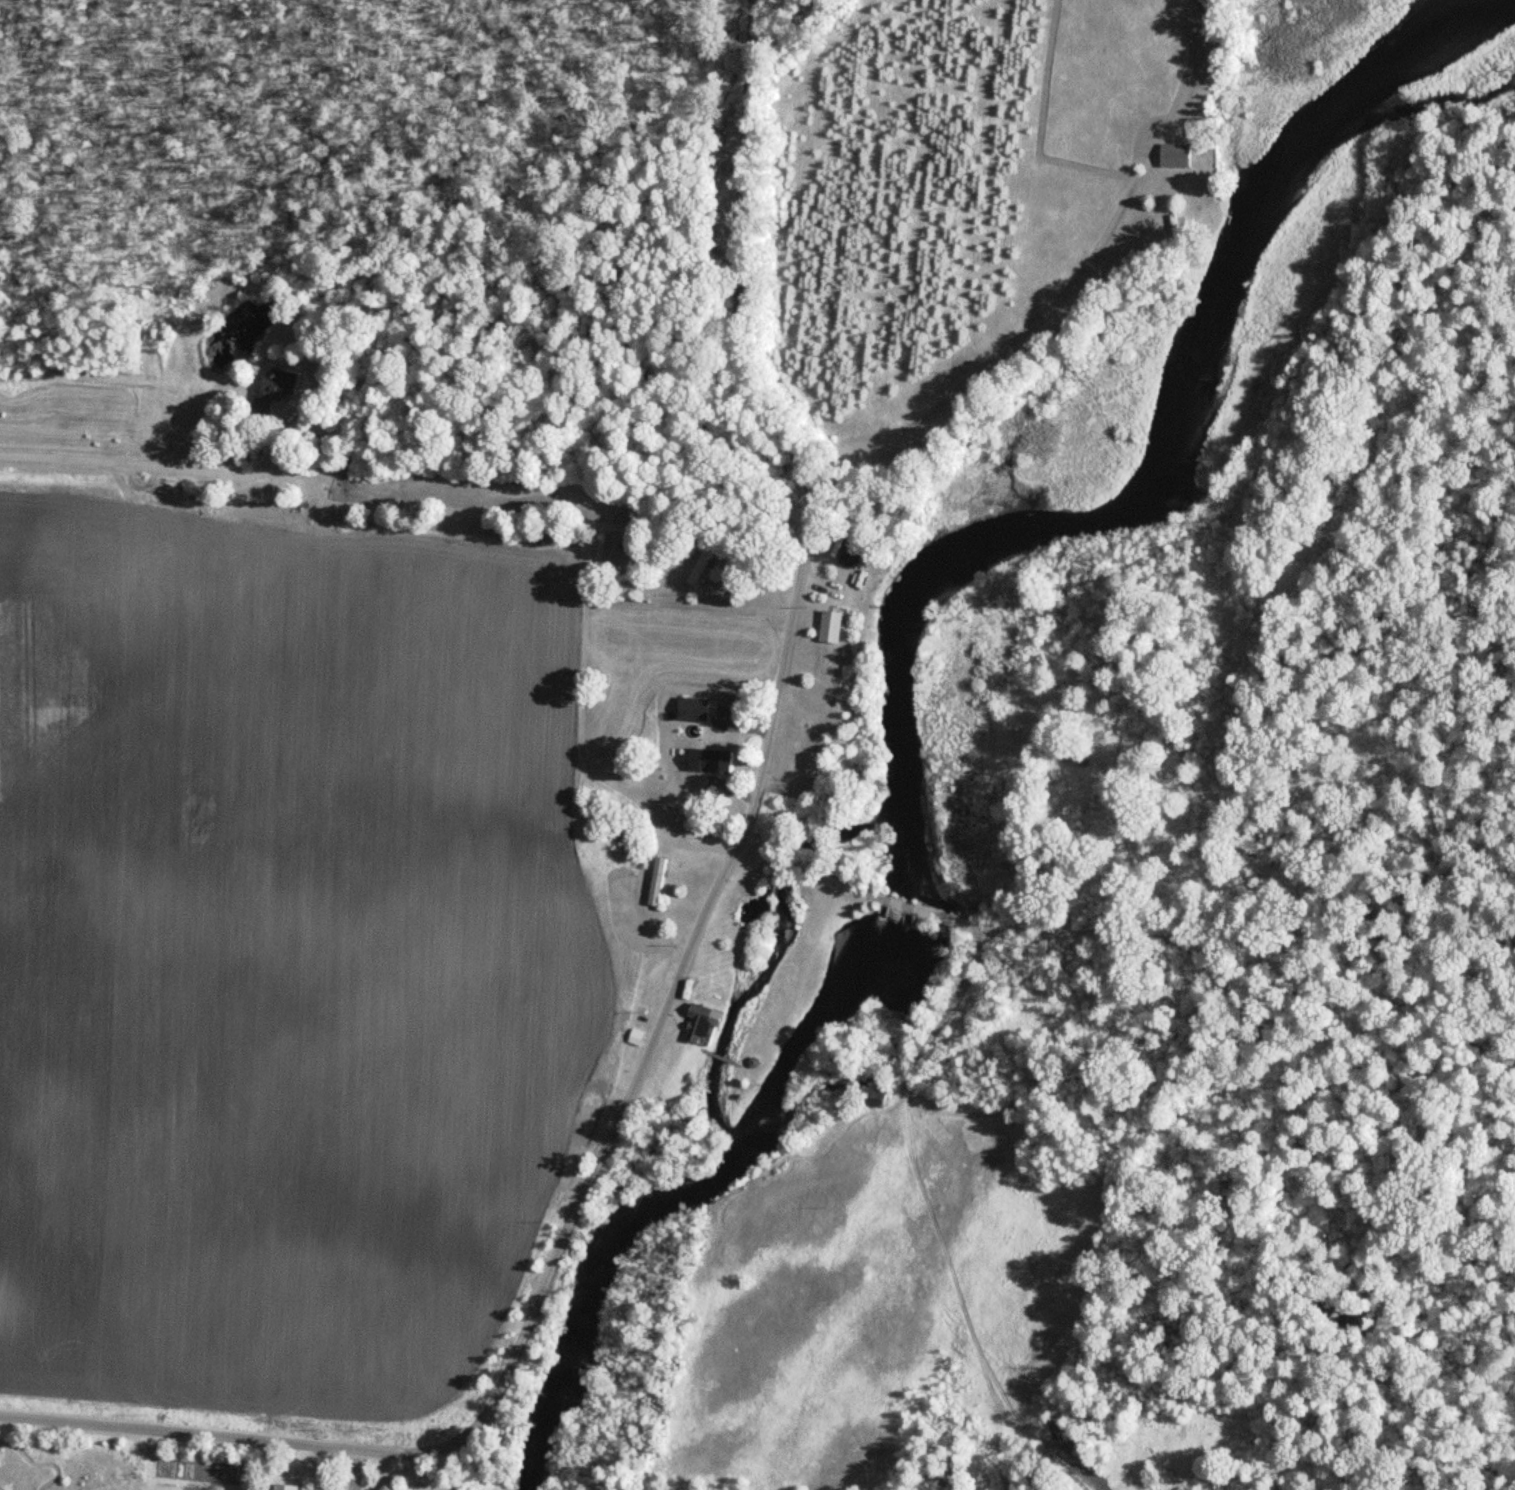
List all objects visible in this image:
road: (906, 124)
building: (1174, 156)
road: (991, 370)
building: (277, 386)
road: (137, 463)
building: (850, 553)
building: (699, 566)
building: (829, 626)
river: (896, 660)
building: (692, 709)
road: (767, 741)
building: (708, 761)
building: (655, 882)
dam: (884, 905)
park: (747, 907)
road: (800, 908)
building: (699, 1025)
building: (874, 1097)
road: (231, 1431)

